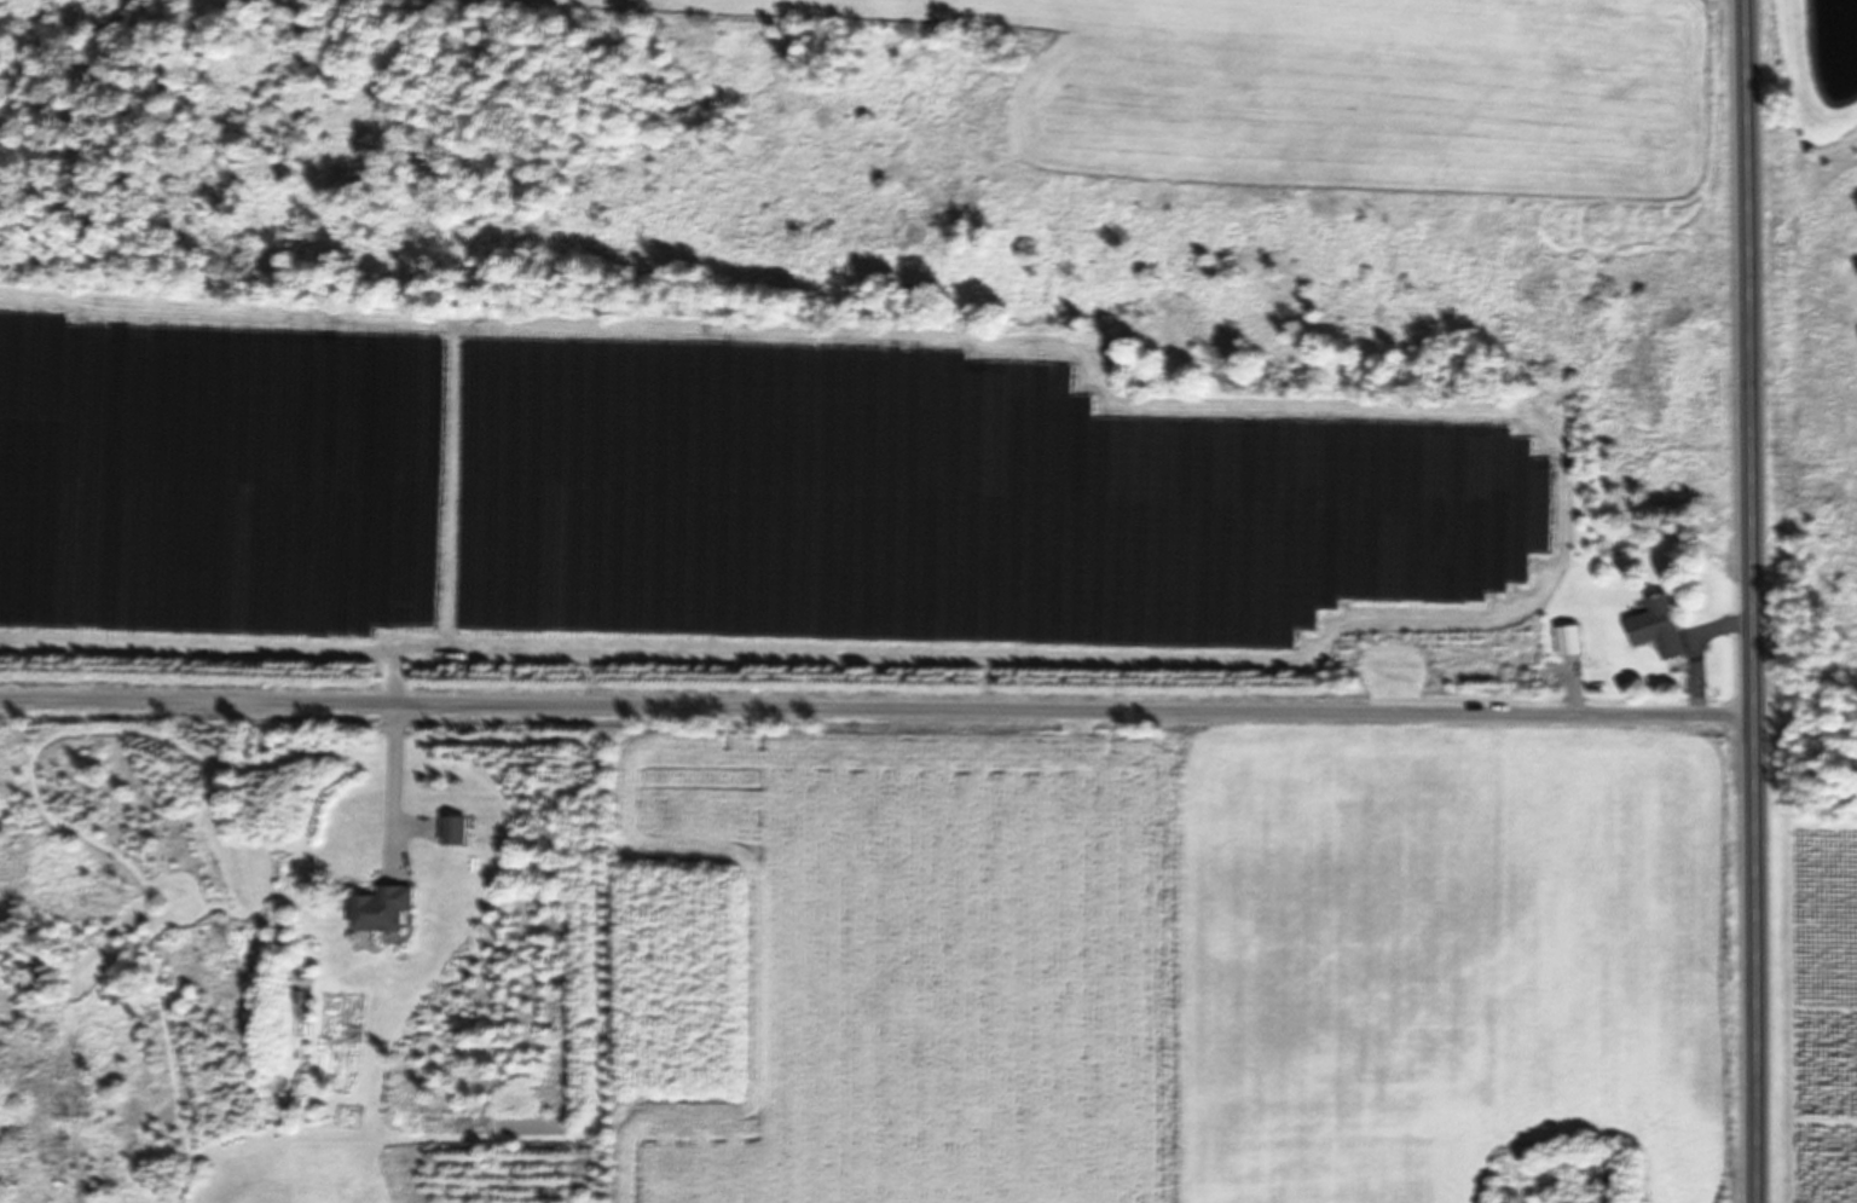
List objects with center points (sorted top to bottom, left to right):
road: (1751, 601)
building: (1660, 626)
building: (1570, 640)
road: (875, 705)
building: (455, 829)
building: (384, 908)
crop: (1179, 959)

